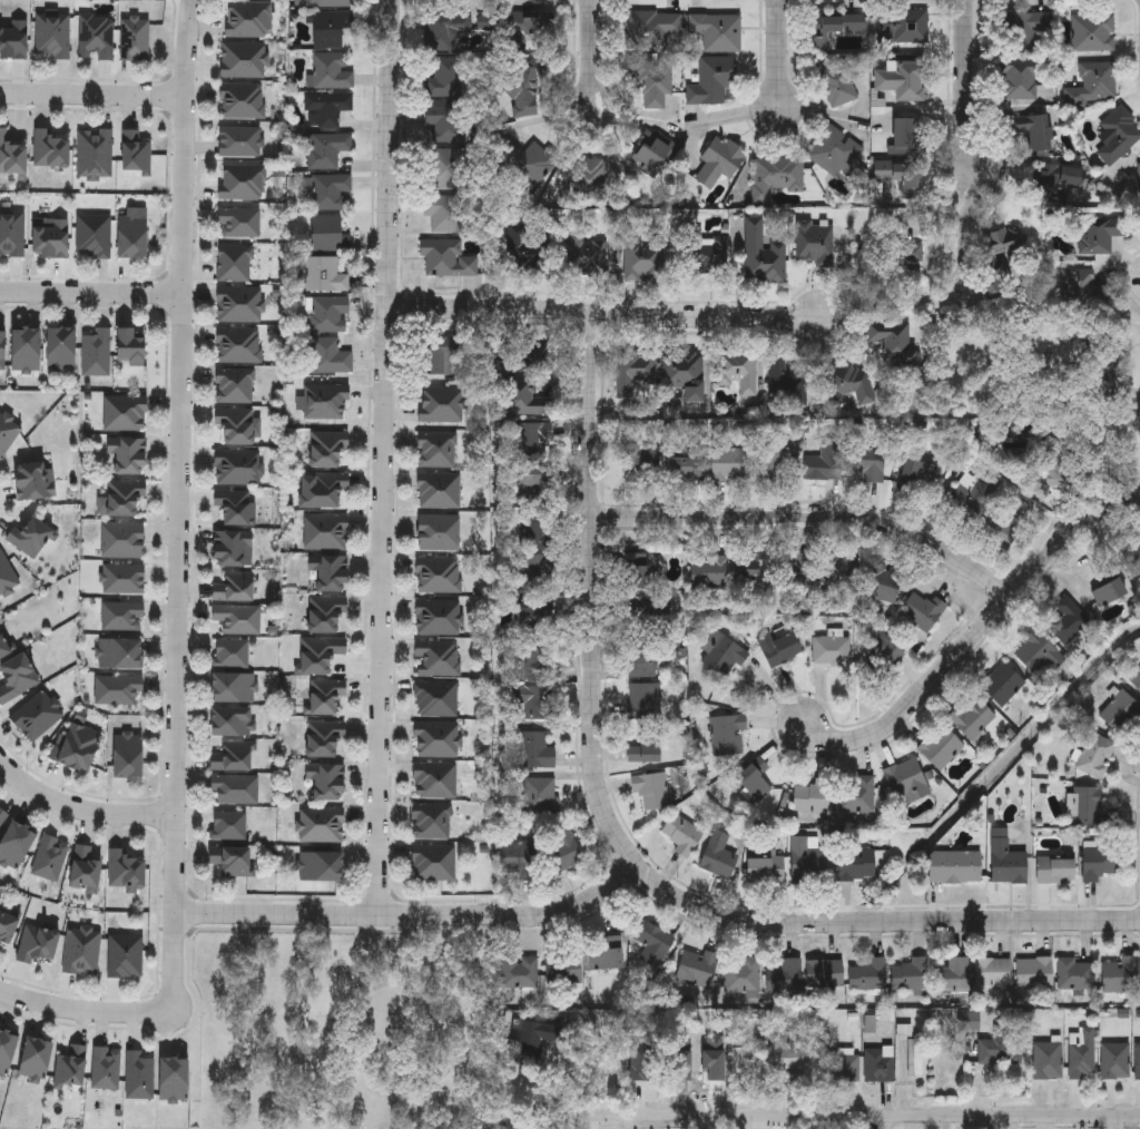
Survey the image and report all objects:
building: (331, 3)
building: (247, 19)
building: (834, 24)
building: (903, 26)
building: (1023, 26)
building: (330, 28)
building: (530, 29)
building: (448, 30)
building: (717, 30)
building: (1093, 31)
building: (52, 36)
building: (96, 37)
building: (13, 39)
building: (134, 39)
building: (651, 51)
road: (592, 52)
road: (783, 57)
building: (243, 59)
building: (330, 71)
building: (444, 77)
building: (901, 78)
building: (1019, 78)
building: (711, 81)
building: (841, 81)
building: (1093, 82)
road: (966, 90)
building: (524, 91)
road: (91, 96)
building: (242, 100)
building: (326, 109)
building: (444, 121)
building: (1034, 129)
building: (1118, 134)
building: (907, 136)
building: (239, 141)
building: (50, 148)
building: (326, 149)
building: (834, 149)
building: (95, 151)
building: (135, 151)
building: (651, 153)
building: (11, 155)
building: (527, 160)
building: (718, 160)
building: (446, 167)
building: (1139, 171)
building: (902, 174)
building: (776, 175)
building: (589, 177)
building: (242, 181)
building: (1058, 181)
building: (331, 190)
building: (448, 213)
building: (239, 223)
building: (12, 233)
building: (326, 233)
building: (130, 234)
building: (1098, 234)
building: (95, 236)
building: (50, 238)
building: (813, 242)
building: (524, 248)
building: (1001, 249)
building: (704, 251)
building: (764, 253)
building: (587, 256)
building: (446, 258)
building: (643, 261)
building: (235, 263)
building: (897, 265)
building: (325, 274)
road: (954, 279)
road: (90, 297)
building: (238, 304)
road: (610, 313)
building: (328, 314)
building: (890, 334)
building: (239, 345)
building: (1, 347)
building: (60, 347)
building: (128, 347)
building: (24, 348)
building: (529, 348)
building: (96, 352)
building: (441, 355)
building: (327, 356)
building: (737, 370)
building: (632, 371)
building: (682, 372)
building: (783, 381)
building: (851, 382)
building: (236, 385)
building: (527, 396)
building: (325, 401)
building: (441, 404)
building: (124, 413)
building: (235, 425)
building: (8, 433)
building: (532, 440)
building: (326, 448)
building: (436, 450)
building: (127, 455)
road: (386, 459)
building: (640, 459)
building: (776, 461)
building: (824, 461)
building: (868, 461)
building: (728, 463)
building: (685, 467)
building: (237, 468)
building: (1060, 468)
building: (917, 475)
building: (35, 481)
building: (529, 483)
building: (327, 489)
building: (439, 490)
building: (122, 495)
building: (969, 495)
building: (234, 507)
road: (180, 511)
road: (814, 517)
building: (533, 528)
building: (326, 531)
building: (439, 531)
building: (30, 534)
building: (122, 539)
building: (232, 547)
building: (1132, 553)
building: (637, 557)
building: (841, 567)
building: (758, 568)
building: (803, 568)
building: (535, 571)
building: (709, 571)
building: (331, 572)
building: (439, 573)
building: (7, 575)
building: (124, 578)
building: (883, 582)
building: (234, 586)
building: (1109, 591)
road: (592, 592)
building: (642, 598)
building: (923, 610)
building: (325, 611)
building: (122, 616)
building: (439, 616)
building: (238, 618)
building: (531, 618)
building: (1069, 619)
road: (979, 634)
building: (3, 647)
building: (779, 647)
building: (833, 649)
building: (1038, 651)
building: (232, 652)
building: (320, 652)
building: (723, 652)
building: (881, 652)
building: (120, 654)
building: (438, 657)
building: (643, 659)
building: (533, 660)
building: (17, 677)
building: (1136, 678)
building: (1002, 684)
building: (233, 687)
building: (118, 688)
building: (325, 695)
building: (436, 698)
building: (534, 700)
building: (645, 700)
building: (1122, 711)
building: (37, 715)
building: (972, 717)
building: (230, 720)
building: (729, 734)
building: (324, 737)
building: (436, 739)
building: (646, 745)
building: (78, 746)
building: (941, 746)
building: (538, 749)
building: (1095, 754)
building: (128, 756)
building: (232, 756)
building: (755, 778)
building: (435, 779)
building: (327, 782)
building: (907, 782)
building: (235, 788)
building: (651, 788)
building: (858, 794)
building: (538, 795)
building: (812, 796)
building: (1085, 805)
road: (81, 807)
building: (3, 816)
building: (433, 821)
building: (322, 824)
building: (228, 825)
building: (682, 832)
building: (14, 844)
building: (563, 848)
building: (517, 854)
building: (719, 855)
building: (50, 858)
building: (1006, 858)
building: (807, 861)
building: (230, 862)
building: (1101, 862)
building: (434, 863)
building: (856, 864)
building: (955, 866)
building: (83, 867)
building: (322, 867)
building: (766, 867)
building: (125, 870)
building: (1055, 870)
road: (417, 916)
road: (881, 922)
building: (7, 926)
building: (652, 937)
building: (40, 943)
building: (82, 950)
building: (607, 953)
building: (126, 954)
building: (563, 966)
building: (695, 968)
building: (520, 971)
building: (993, 971)
building: (825, 972)
building: (868, 972)
building: (911, 972)
building: (1034, 972)
building: (1075, 973)
building: (745, 974)
building: (952, 974)
building: (1120, 974)
building: (785, 975)
road: (78, 1005)
building: (527, 1042)
building: (1001, 1047)
building: (7, 1051)
building: (1083, 1052)
building: (787, 1053)
building: (916, 1056)
building: (33, 1058)
building: (1048, 1058)
building: (1116, 1059)
building: (1138, 1059)
building: (643, 1060)
building: (879, 1062)
building: (70, 1067)
building: (846, 1067)
building: (105, 1068)
building: (738, 1068)
building: (138, 1076)
building: (170, 1079)
road: (868, 1116)

